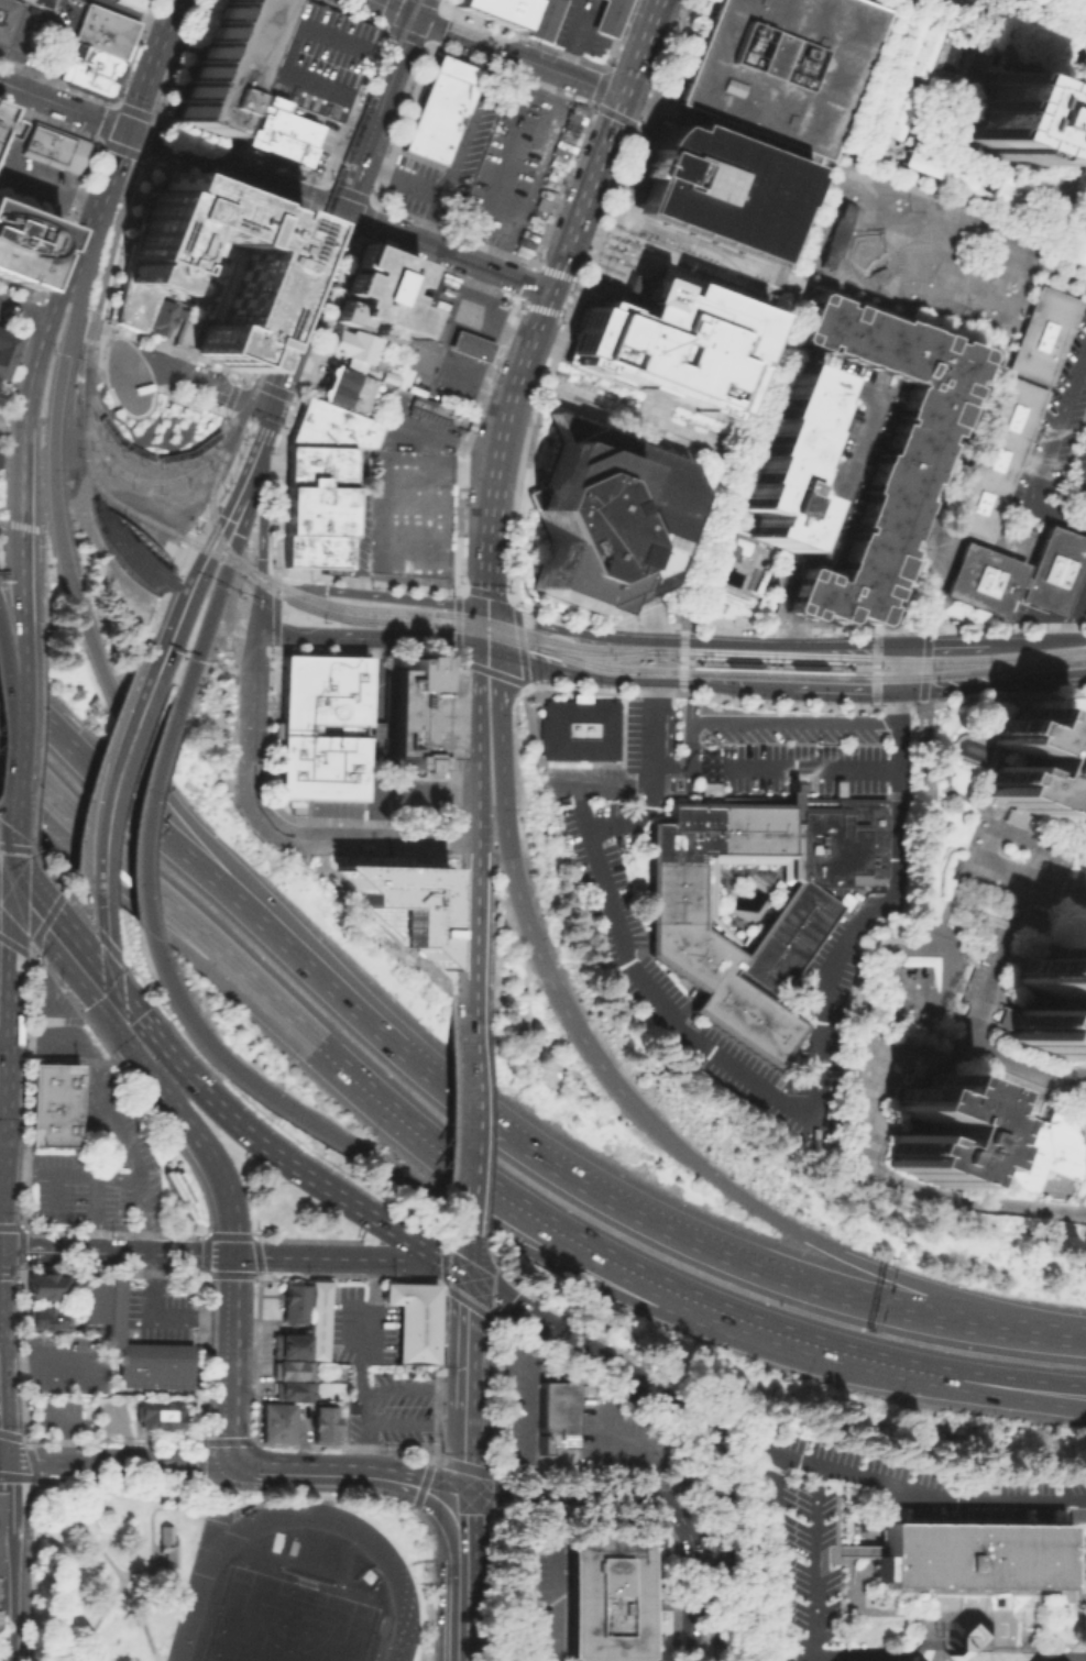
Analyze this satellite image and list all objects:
building: (44, 2)
building: (132, 3)
road: (448, 3)
road: (900, 3)
road: (394, 9)
road: (423, 9)
building: (496, 10)
road: (1052, 12)
road: (133, 13)
building: (607, 15)
railway: (1043, 15)
building: (7, 18)
traffic signals: (419, 19)
building: (544, 19)
railway: (1019, 24)
road: (305, 28)
road: (1011, 28)
building: (103, 30)
road: (617, 32)
road: (1069, 34)
road: (525, 37)
road: (605, 41)
road: (563, 47)
road: (641, 47)
building: (918, 47)
road: (13, 48)
road: (50, 50)
road: (520, 56)
road: (1024, 56)
building: (308, 61)
road: (152, 65)
building: (226, 66)
building: (780, 66)
building: (89, 67)
road: (270, 75)
railway: (162, 89)
traffic signals: (623, 96)
road: (63, 106)
building: (439, 107)
building: (895, 109)
road: (558, 112)
road: (382, 114)
building: (1007, 117)
road: (471, 121)
traffic signals: (128, 130)
building: (284, 133)
building: (53, 145)
road: (152, 150)
road: (134, 154)
road: (235, 157)
building: (941, 165)
parking lot: (522, 167)
road: (235, 170)
parking lot: (439, 173)
road: (15, 174)
road: (404, 178)
building: (723, 185)
railway: (333, 189)
road: (229, 190)
building: (1008, 190)
road: (102, 198)
road: (583, 201)
road: (941, 204)
road: (312, 211)
traffic signals: (345, 212)
road: (434, 218)
road: (67, 219)
railway: (300, 226)
road: (323, 226)
road: (886, 229)
building: (834, 233)
building: (1077, 237)
road: (120, 240)
road: (689, 243)
road: (482, 244)
building: (23, 245)
road: (941, 246)
railway: (111, 248)
road: (494, 250)
road: (447, 251)
road: (329, 252)
fountain: (889, 255)
park: (914, 258)
road: (694, 261)
railway: (109, 264)
road: (585, 264)
road: (731, 267)
road: (437, 268)
road: (1044, 268)
building: (259, 271)
road: (823, 274)
road: (568, 276)
road: (787, 279)
road: (1076, 280)
building: (420, 286)
road: (21, 290)
road: (961, 290)
road: (58, 293)
building: (377, 296)
road: (277, 300)
road: (63, 305)
road: (198, 307)
road: (85, 311)
road: (555, 312)
road: (23, 313)
building: (162, 313)
road: (780, 315)
road: (29, 316)
road: (326, 318)
road: (84, 326)
road: (22, 330)
building: (1041, 334)
road: (89, 340)
building: (671, 340)
road: (98, 342)
building: (424, 343)
building: (470, 345)
gas station: (470, 345)
road: (100, 348)
building: (351, 348)
road: (555, 348)
building: (7, 349)
road: (174, 350)
road: (547, 350)
road: (292, 351)
road: (32, 372)
road: (130, 376)
building: (386, 376)
building: (0, 382)
road: (199, 383)
road: (262, 385)
building: (343, 388)
road: (230, 393)
road: (286, 395)
road: (511, 395)
road: (189, 399)
road: (875, 403)
traffic signals: (272, 411)
building: (436, 411)
road: (227, 413)
road: (6, 414)
road: (638, 414)
parking lot: (1057, 417)
road: (238, 418)
road: (287, 419)
railway: (85, 422)
road: (249, 424)
building: (330, 427)
road: (260, 428)
road: (630, 432)
road: (271, 433)
road: (434, 435)
road: (261, 436)
road: (277, 438)
road: (264, 439)
road: (461, 440)
road: (234, 452)
road: (11, 457)
road: (276, 457)
building: (780, 457)
railway: (153, 458)
building: (995, 458)
road: (1043, 460)
road: (271, 466)
parking lot: (284, 466)
road: (316, 466)
parking lot: (1074, 472)
building: (901, 473)
road: (22, 474)
railway: (149, 482)
road: (522, 485)
road: (211, 499)
building: (315, 506)
road: (234, 508)
building: (607, 515)
road: (931, 515)
traffic signals: (230, 519)
road: (277, 520)
road: (1, 521)
road: (1082, 522)
road: (194, 524)
road: (19, 525)
road: (352, 526)
road: (1006, 529)
traffic signals: (238, 533)
road: (185, 538)
road: (953, 538)
road: (267, 543)
road: (260, 547)
road: (487, 547)
fountain: (928, 548)
building: (127, 550)
road: (20, 570)
road: (276, 570)
building: (1016, 573)
road: (39, 574)
road: (365, 581)
road: (217, 586)
road: (460, 590)
road: (805, 590)
road: (283, 591)
road: (485, 591)
road: (162, 594)
road: (454, 594)
road: (507, 595)
road: (397, 596)
traffic signals: (259, 597)
road: (514, 598)
road: (893, 603)
road: (1073, 603)
road: (517, 605)
road: (274, 608)
traffic signals: (486, 608)
parking lot: (1085, 608)
railway: (408, 610)
road: (186, 614)
road: (1045, 617)
road: (454, 623)
road: (482, 626)
road: (793, 628)
road: (800, 628)
traffic signals: (256, 629)
road: (490, 629)
road: (296, 635)
road: (408, 637)
road: (687, 640)
road: (1038, 640)
traffic signals: (891, 643)
road: (940, 643)
traffic signals: (479, 645)
road: (370, 650)
traffic signals: (496, 650)
railway: (555, 652)
railway: (599, 656)
railway: (895, 659)
road: (20, 660)
road: (681, 660)
railway: (691, 661)
road: (777, 663)
railway: (848, 665)
road: (874, 667)
road: (523, 674)
road: (478, 675)
road: (1063, 675)
road: (4, 678)
road: (634, 679)
road: (967, 683)
road: (600, 687)
road: (844, 690)
traffic signals: (896, 690)
building: (321, 694)
road: (979, 695)
road: (118, 702)
road: (776, 703)
road: (896, 704)
road: (498, 711)
building: (415, 713)
road: (772, 718)
building: (579, 727)
road: (252, 729)
road: (270, 730)
road: (453, 733)
road: (34, 734)
road: (375, 739)
road: (13, 747)
road: (678, 760)
building: (1029, 762)
road: (98, 765)
building: (319, 766)
road: (730, 767)
road: (478, 776)
road: (122, 784)
road: (589, 784)
road: (427, 788)
road: (957, 794)
road: (901, 795)
road: (7, 800)
road: (13, 809)
road: (146, 820)
road: (365, 821)
road: (988, 827)
road: (13, 840)
road: (371, 842)
road: (14, 847)
road: (30, 848)
traffic signals: (14, 853)
road: (199, 865)
road: (44, 868)
road: (78, 873)
road: (12, 876)
road: (143, 876)
road: (70, 884)
road: (1072, 890)
road: (4, 893)
traffic signals: (10, 899)
road: (72, 901)
building: (710, 901)
building: (402, 902)
road: (91, 905)
road: (9, 909)
building: (804, 909)
road: (140, 911)
parking lot: (614, 915)
road: (4, 917)
road: (62, 921)
road: (110, 923)
road: (476, 931)
road: (8, 933)
road: (3, 947)
road: (114, 968)
road: (68, 970)
park: (915, 976)
road: (943, 980)
building: (968, 983)
parking lot: (968, 983)
traffic signals: (117, 987)
building: (1050, 1002)
road: (45, 1011)
road: (121, 1015)
road: (969, 1023)
road: (2, 1038)
road: (4, 1039)
road: (41, 1041)
traffic signals: (127, 1044)
road: (426, 1058)
road: (420, 1066)
road: (768, 1088)
road: (1036, 1092)
road: (627, 1099)
building: (52, 1104)
road: (108, 1109)
road: (471, 1123)
building: (932, 1125)
road: (197, 1142)
road: (261, 1143)
road: (0, 1151)
building: (1046, 1155)
road: (69, 1171)
road: (873, 1171)
building: (177, 1189)
parking lot: (89, 1192)
road: (428, 1192)
road: (516, 1206)
road: (54, 1210)
road: (90, 1212)
road: (139, 1214)
road: (660, 1222)
road: (53, 1251)
road: (468, 1253)
road: (167, 1254)
traffic signals: (230, 1256)
road: (333, 1258)
road: (453, 1267)
traffic signals: (468, 1277)
building: (44, 1286)
road: (446, 1286)
building: (293, 1301)
road: (996, 1312)
building: (399, 1316)
building: (47, 1318)
building: (315, 1319)
building: (423, 1321)
road: (987, 1323)
building: (114, 1332)
road: (1075, 1338)
building: (287, 1345)
road: (575, 1347)
road: (846, 1352)
road: (228, 1361)
road: (359, 1363)
building: (290, 1369)
road: (996, 1375)
road: (465, 1380)
road: (413, 1388)
building: (292, 1390)
road: (994, 1394)
road: (524, 1399)
building: (156, 1414)
building: (552, 1415)
building: (275, 1421)
building: (322, 1422)
road: (415, 1423)
road: (707, 1431)
road: (707, 1440)
road: (0, 1445)
road: (0, 1458)
traffic signals: (1, 1459)
road: (32, 1460)
road: (152, 1460)
traffic signals: (241, 1462)
road: (677, 1462)
road: (456, 1464)
road: (693, 1469)
road: (721, 1469)
road: (33, 1470)
road: (316, 1470)
road: (200, 1472)
road: (429, 1473)
road: (19, 1477)
road: (814, 1478)
road: (692, 1481)
road: (888, 1482)
traffic signals: (465, 1484)
parking lot: (928, 1484)
road: (723, 1485)
road: (564, 1493)
road: (3, 1499)
road: (1077, 1503)
road: (436, 1511)
road: (468, 1526)
road: (723, 1531)
road: (89, 1537)
building: (165, 1543)
building: (970, 1553)
parking lot: (793, 1555)
road: (775, 1557)
road: (150, 1558)
road: (428, 1558)
road: (810, 1558)
road: (731, 1565)
road: (28, 1569)
park: (226, 1575)
road: (691, 1577)
track: (198, 1581)
road: (1014, 1591)
building: (605, 1595)
road: (555, 1597)
road: (8, 1601)
road: (107, 1605)
road: (723, 1610)
road: (457, 1613)
park: (283, 1621)
fountain: (966, 1626)
road: (448, 1653)
road: (836, 1656)
building: (973, 1656)
parking lot: (973, 1656)
road: (1066, 1658)

